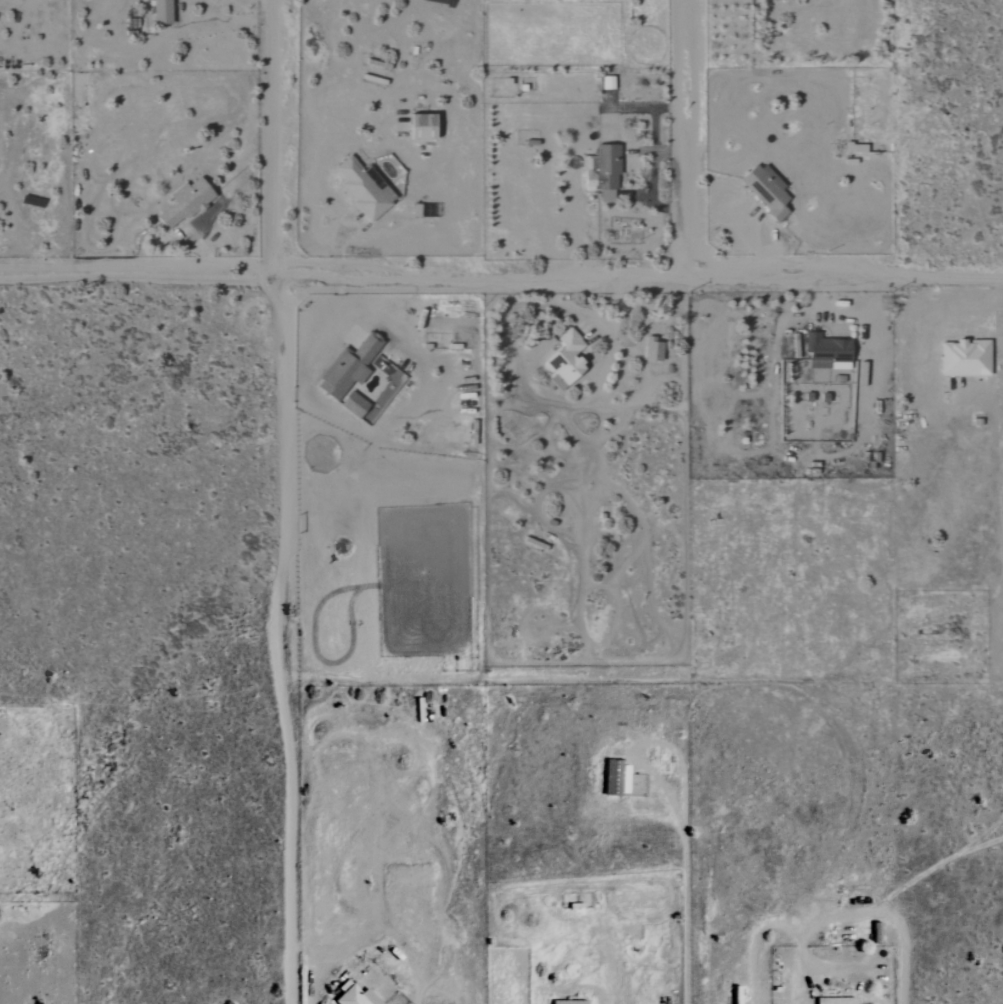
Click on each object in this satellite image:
building: (164, 12)
road: (219, 24)
building: (610, 83)
building: (426, 127)
road: (681, 135)
road: (270, 136)
building: (857, 148)
building: (605, 173)
building: (365, 190)
building: (768, 191)
building: (192, 206)
road: (754, 245)
road: (501, 272)
building: (656, 350)
building: (829, 350)
building: (968, 359)
building: (568, 361)
building: (351, 367)
building: (820, 376)
road: (595, 380)
road: (984, 388)
building: (357, 405)
road: (279, 637)
road: (648, 741)
building: (619, 778)
road: (683, 913)
road: (830, 914)
building: (359, 997)
building: (839, 1000)
building: (573, 1002)

